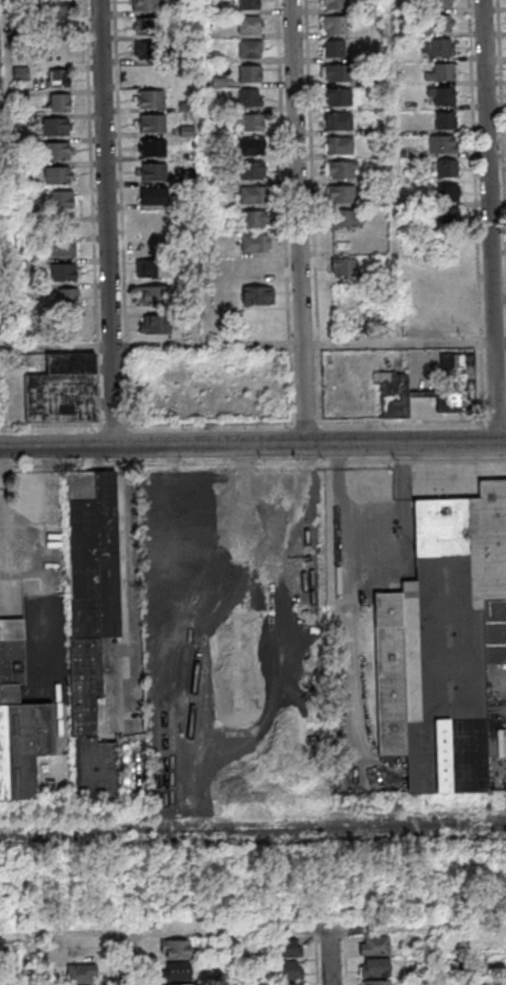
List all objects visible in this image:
building: (442, 4)
building: (252, 5)
building: (336, 5)
building: (147, 6)
building: (56, 9)
building: (441, 21)
building: (252, 26)
building: (336, 26)
building: (150, 28)
building: (57, 32)
building: (437, 46)
building: (333, 48)
building: (151, 51)
building: (252, 51)
building: (443, 72)
building: (253, 75)
building: (341, 75)
building: (60, 80)
building: (441, 95)
building: (249, 97)
building: (341, 99)
building: (153, 100)
building: (61, 105)
building: (188, 106)
building: (445, 119)
building: (254, 124)
building: (342, 124)
building: (153, 125)
building: (58, 128)
building: (442, 144)
building: (342, 147)
building: (154, 149)
building: (253, 149)
building: (58, 152)
building: (447, 168)
building: (345, 171)
road: (400, 171)
road: (205, 172)
building: (253, 172)
building: (155, 173)
road: (12, 174)
building: (58, 176)
building: (449, 192)
building: (156, 196)
building: (345, 196)
building: (254, 197)
building: (63, 200)
building: (449, 217)
road: (490, 220)
road: (108, 221)
building: (254, 221)
road: (296, 221)
building: (347, 221)
building: (147, 243)
building: (255, 244)
building: (63, 248)
building: (256, 267)
building: (152, 268)
building: (346, 268)
building: (66, 273)
building: (155, 294)
building: (257, 295)
building: (65, 299)
building: (154, 324)
road: (403, 342)
road: (150, 346)
building: (62, 389)
building: (430, 389)
road: (252, 443)
road: (341, 456)
road: (52, 513)
road: (28, 534)
road: (126, 567)
building: (92, 618)
building: (444, 642)
road: (352, 690)
building: (19, 719)
road: (253, 930)
building: (374, 944)
building: (288, 947)
building: (175, 949)
road: (427, 956)
road: (231, 957)
road: (333, 957)
road: (126, 958)
road: (24, 959)
road: (347, 962)
road: (112, 964)
building: (375, 967)
building: (287, 969)
building: (176, 971)
building: (476, 972)
building: (81, 973)
building: (376, 982)
building: (178, 984)
building: (288, 984)

